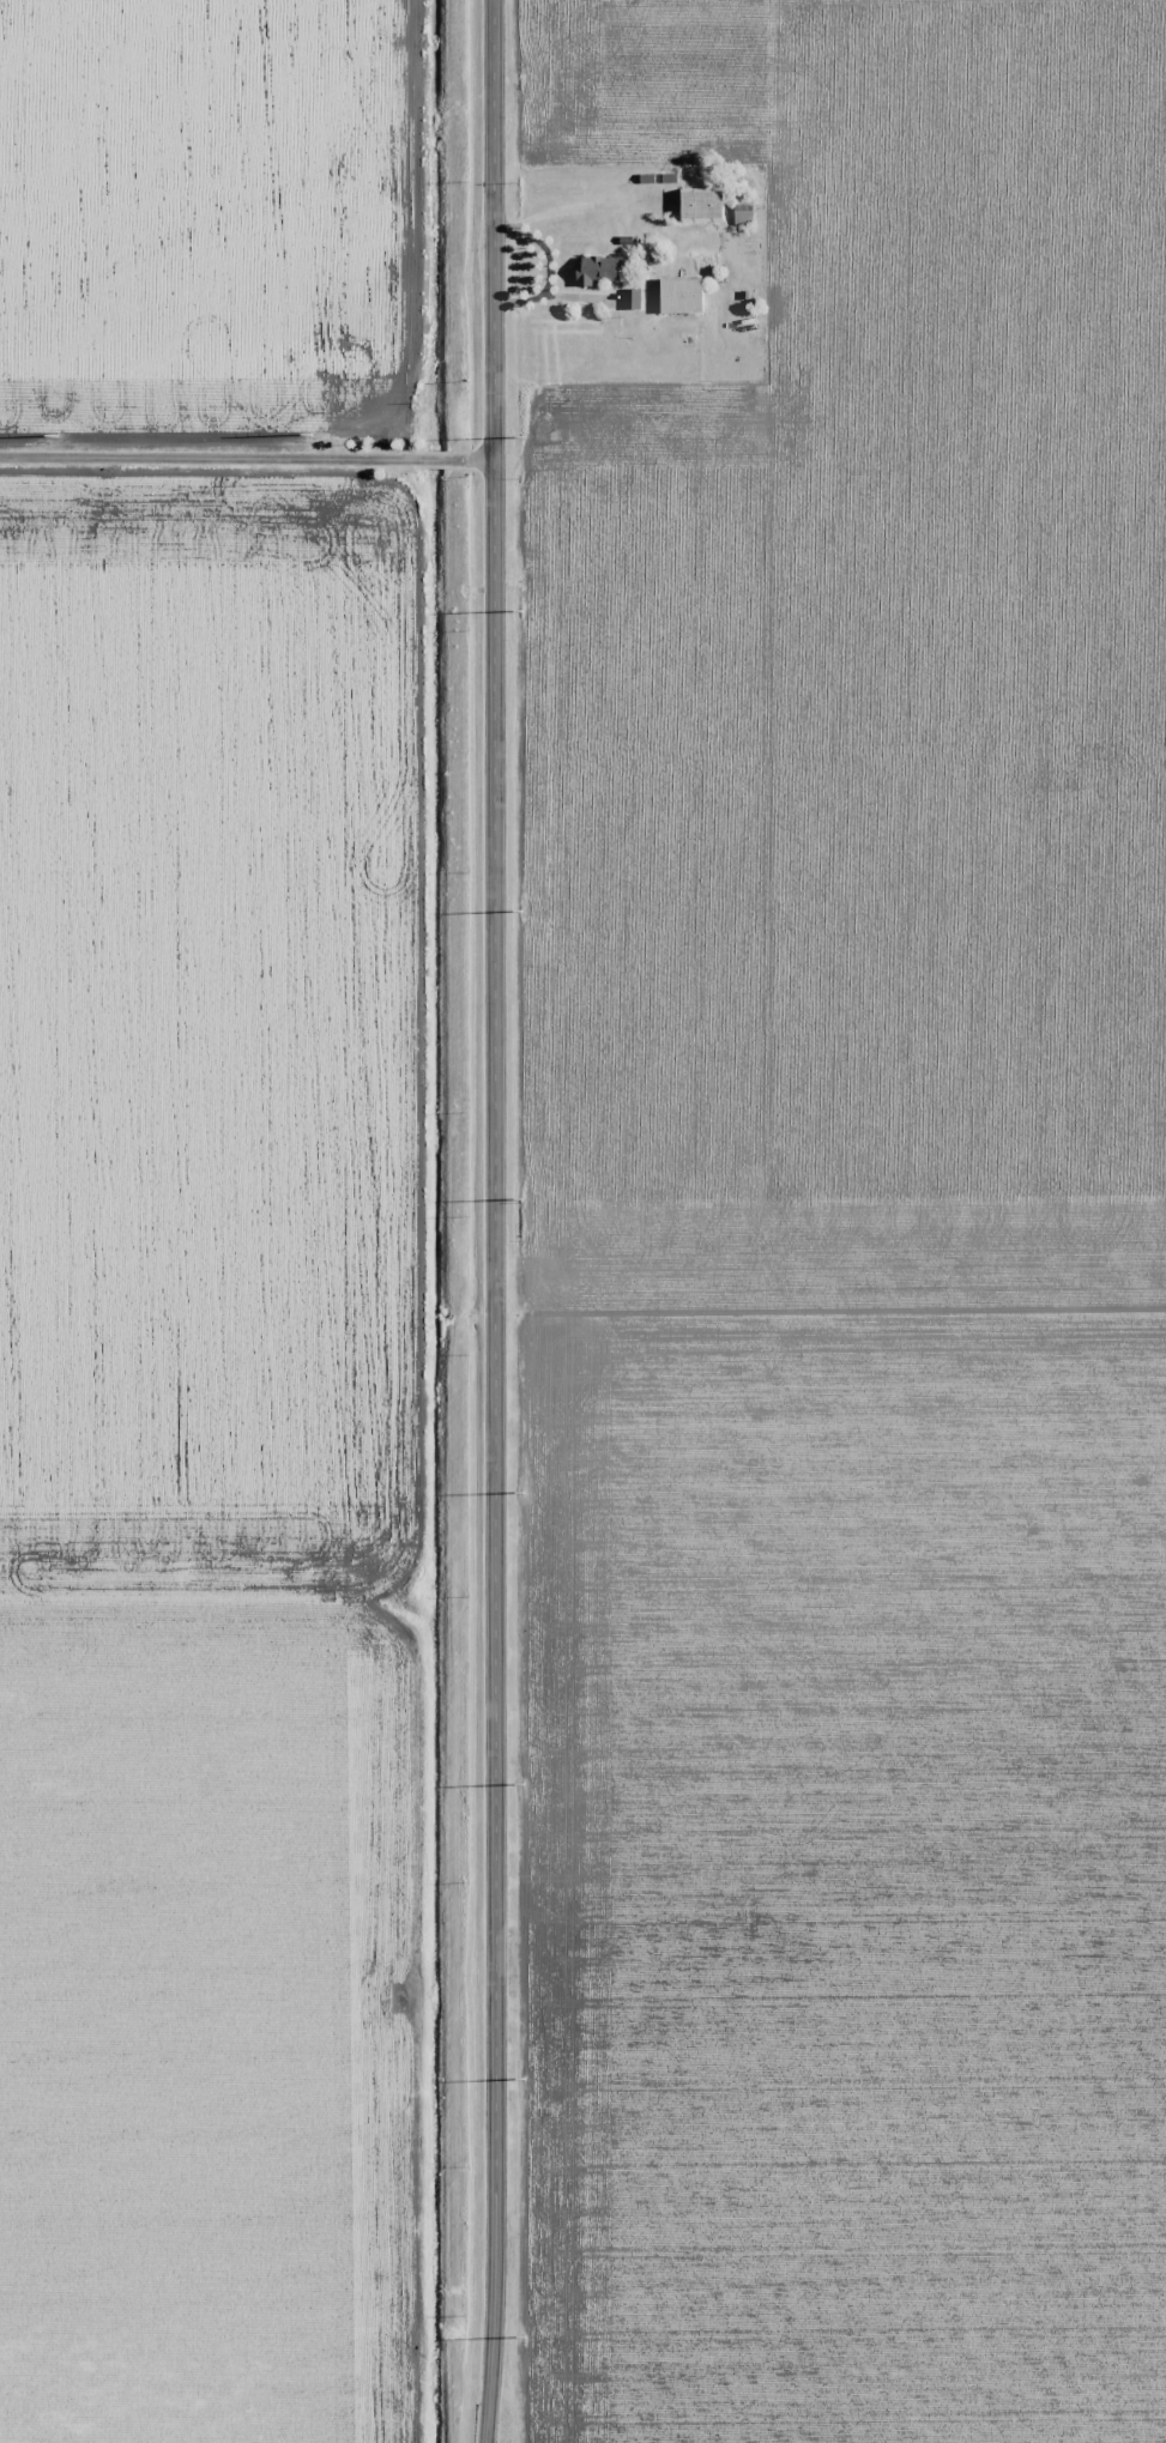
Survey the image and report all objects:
building: (697, 206)
crop: (207, 218)
building: (593, 270)
building: (678, 295)
power tower: (527, 433)
power tower: (312, 434)
power tower: (55, 436)
road: (247, 458)
power tower: (521, 613)
power tower: (520, 907)
power tower: (521, 1203)
road: (495, 1221)
power tower: (526, 1494)
power tower: (522, 1791)
power tower: (521, 2084)
power tower: (524, 2341)

